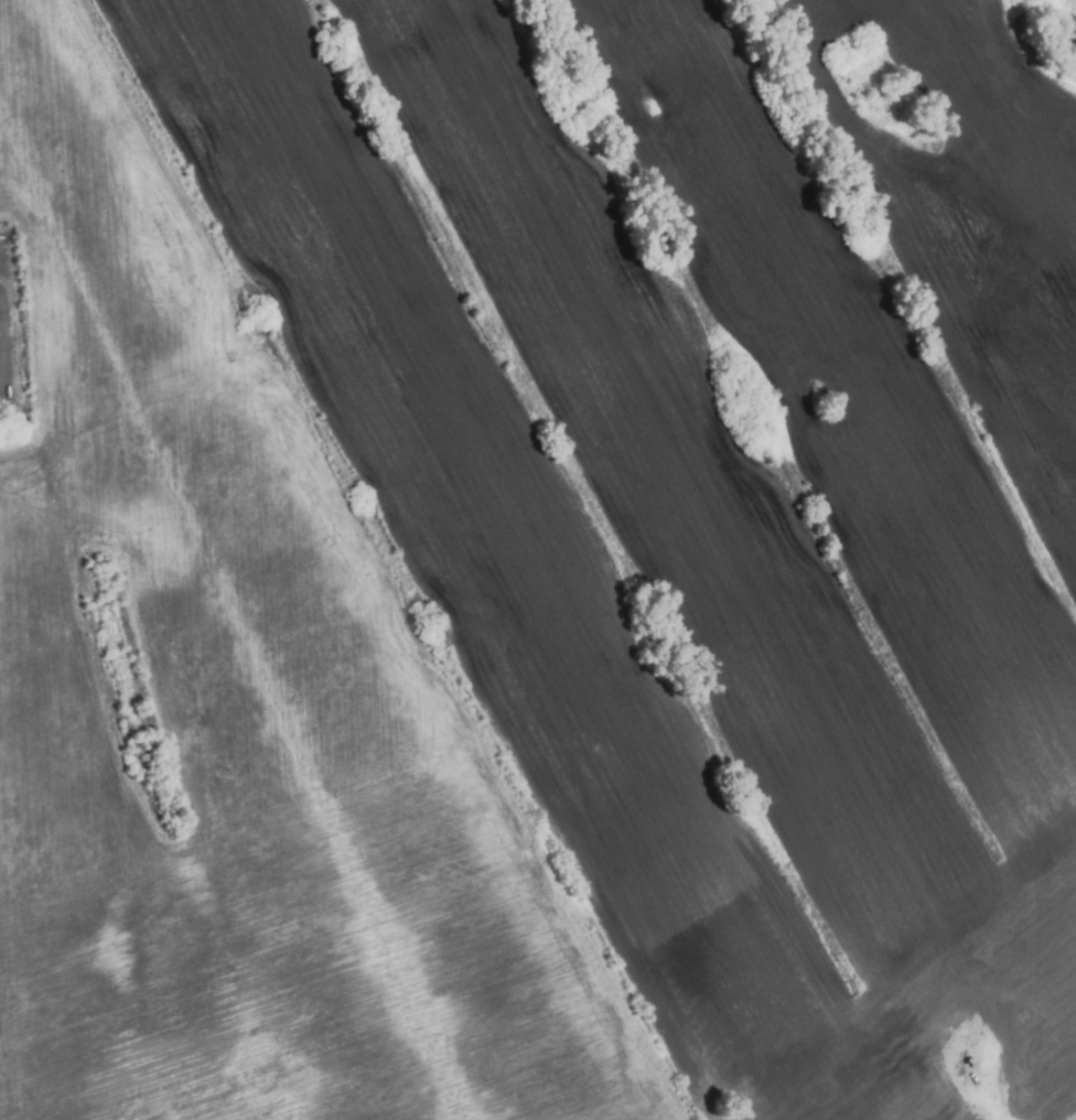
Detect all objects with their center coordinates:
crop: (538, 560)

